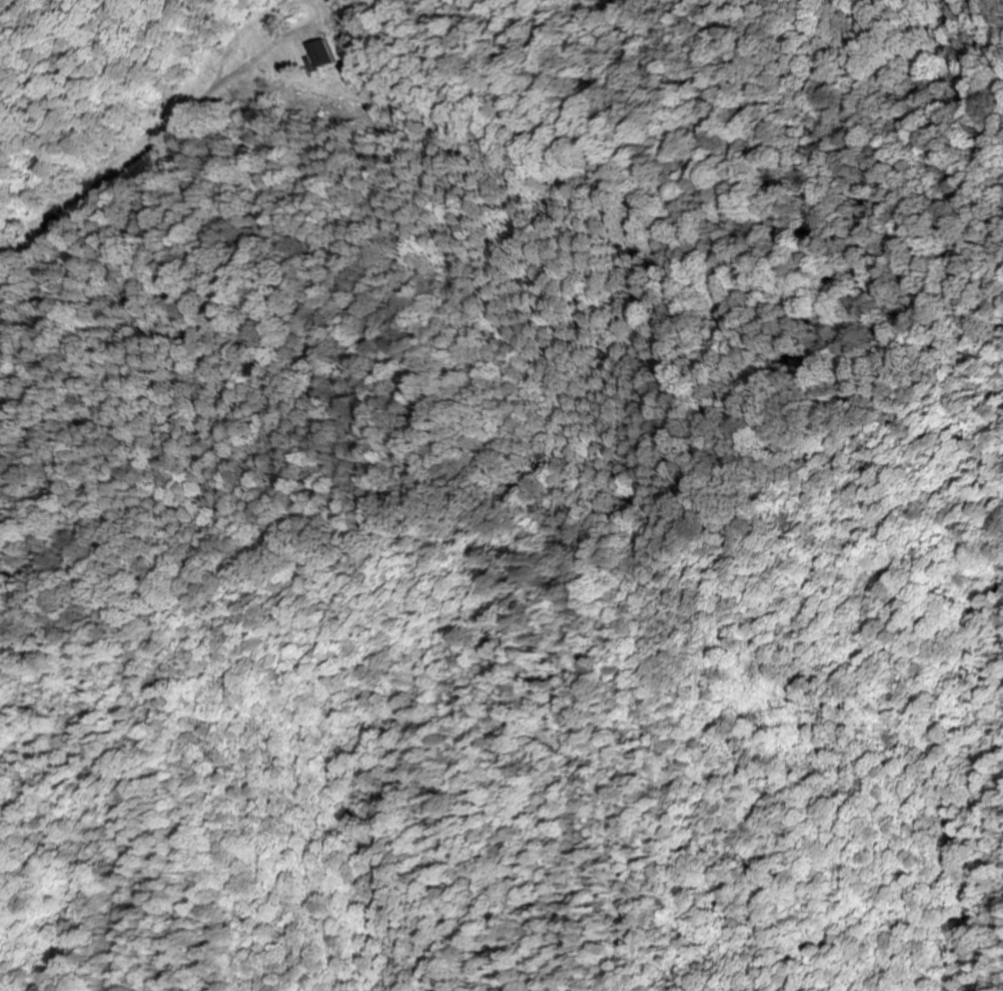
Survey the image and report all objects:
building: (324, 55)
road: (137, 111)

